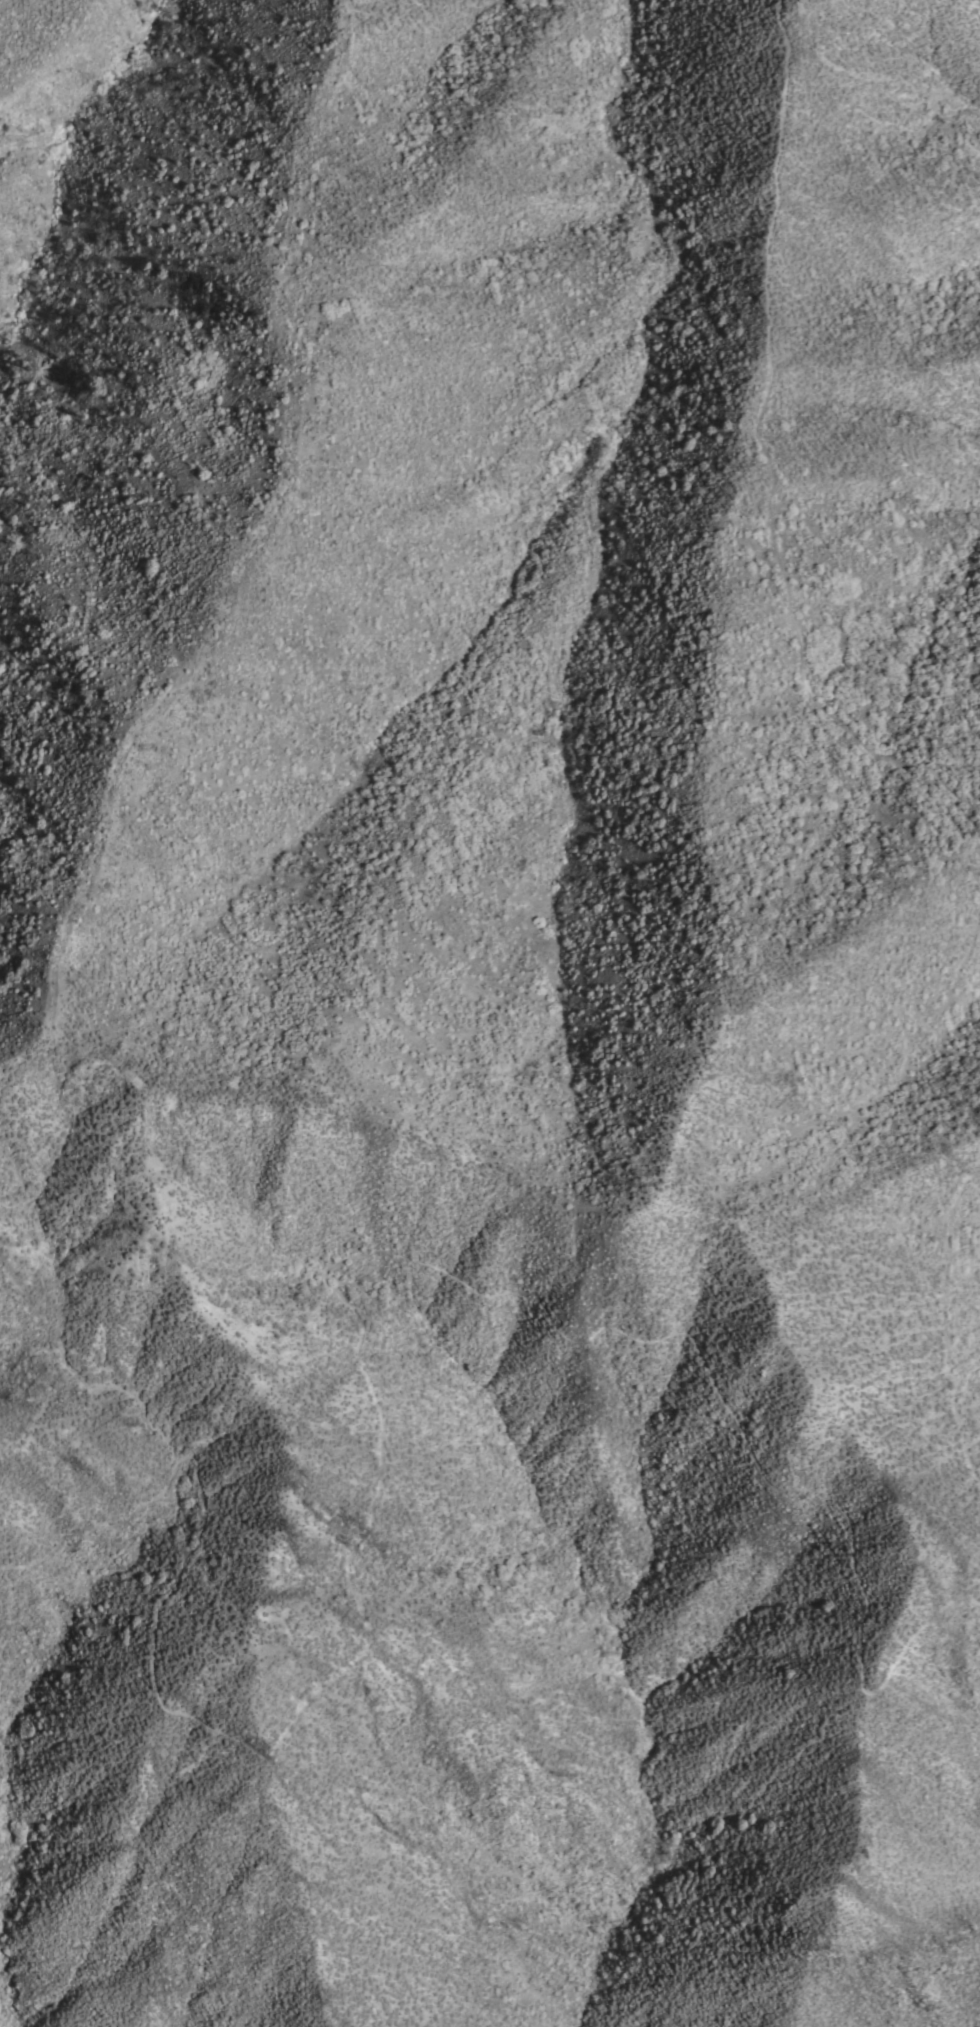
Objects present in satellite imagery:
road: (763, 451)
road: (950, 990)
road: (942, 1322)
road: (358, 1334)

